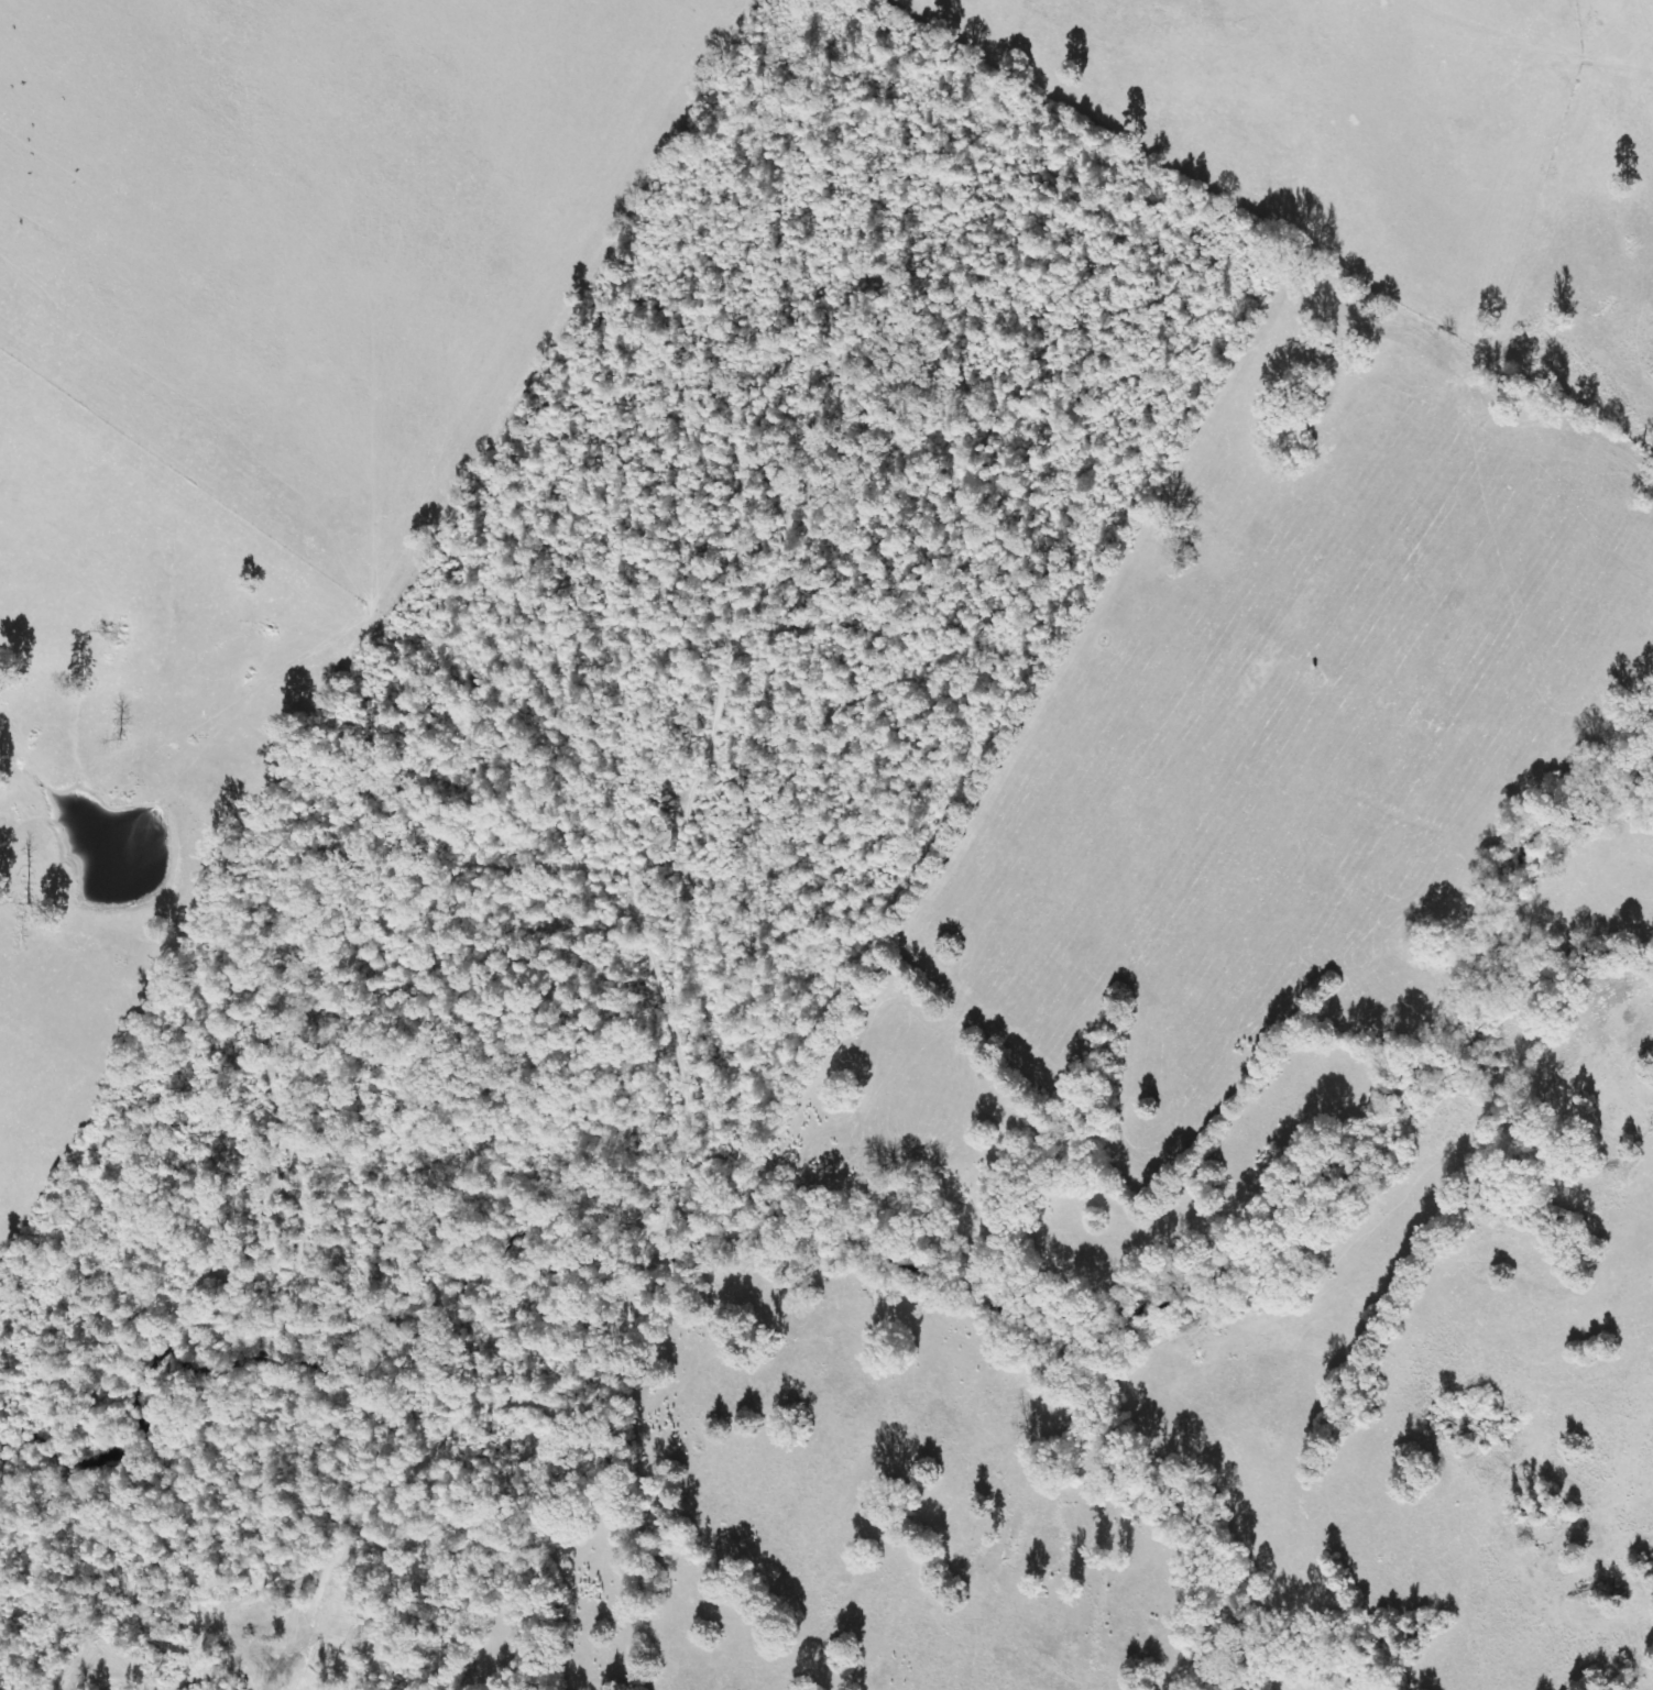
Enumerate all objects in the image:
road: (1510, 37)

